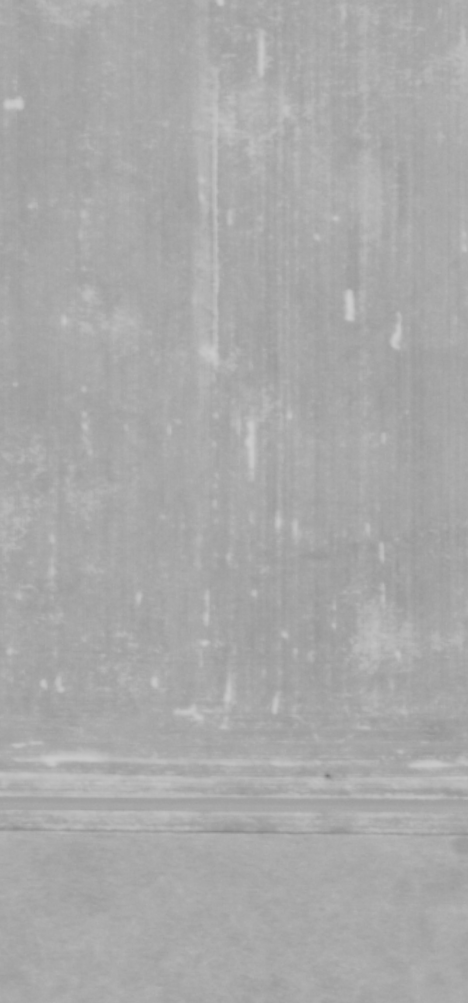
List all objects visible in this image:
road: (234, 799)

